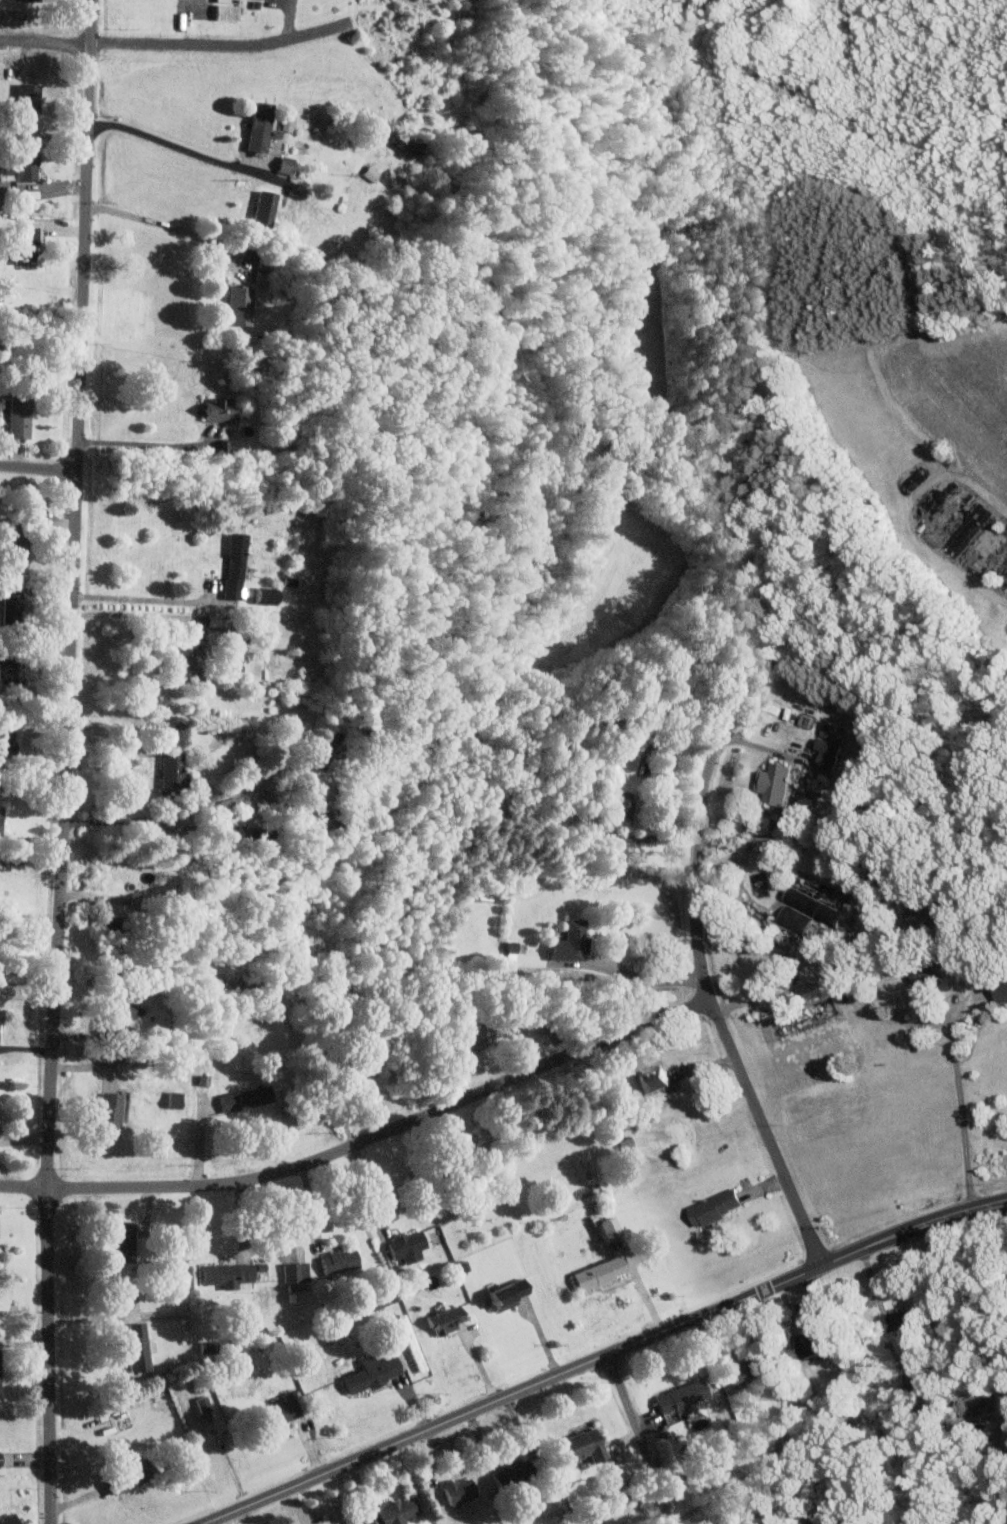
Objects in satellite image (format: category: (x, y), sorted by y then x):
building: (24, 0)
building: (67, 10)
building: (224, 12)
building: (8, 14)
road: (46, 41)
road: (210, 45)
park: (702, 91)
building: (24, 98)
building: (257, 127)
road: (184, 148)
building: (18, 166)
building: (369, 173)
building: (261, 210)
road: (169, 227)
building: (23, 246)
building: (236, 305)
building: (211, 411)
building: (16, 417)
road: (148, 443)
building: (229, 447)
road: (39, 468)
building: (962, 530)
building: (12, 548)
building: (232, 565)
building: (1006, 591)
building: (263, 595)
road: (144, 599)
building: (8, 600)
road: (132, 613)
building: (211, 619)
building: (209, 635)
building: (182, 662)
building: (6, 665)
road: (668, 734)
building: (6, 740)
building: (825, 750)
road: (67, 762)
building: (170, 769)
building: (771, 783)
building: (227, 802)
building: (621, 809)
road: (159, 816)
road: (655, 837)
road: (743, 858)
road: (31, 860)
building: (809, 906)
building: (920, 910)
building: (790, 919)
road: (855, 936)
building: (566, 942)
building: (921, 972)
road: (644, 978)
building: (999, 988)
road: (710, 999)
road: (879, 1014)
building: (113, 1016)
building: (473, 1035)
building: (359, 1068)
building: (649, 1078)
building: (200, 1079)
building: (240, 1097)
building: (172, 1099)
building: (104, 1115)
building: (626, 1150)
road: (334, 1153)
road: (371, 1190)
building: (711, 1206)
building: (604, 1228)
building: (120, 1241)
building: (404, 1246)
building: (336, 1261)
building: (293, 1272)
building: (596, 1272)
building: (222, 1274)
building: (504, 1294)
building: (379, 1302)
building: (903, 1319)
building: (443, 1320)
building: (808, 1343)
building: (134, 1347)
road: (604, 1357)
building: (741, 1369)
building: (369, 1373)
building: (678, 1396)
building: (201, 1404)
building: (971, 1405)
building: (275, 1412)
road: (1006, 1432)
road: (642, 1438)
building: (576, 1447)
building: (4, 1459)
building: (124, 1479)
building: (456, 1490)
building: (390, 1513)
building: (6, 1519)
building: (348, 1522)

